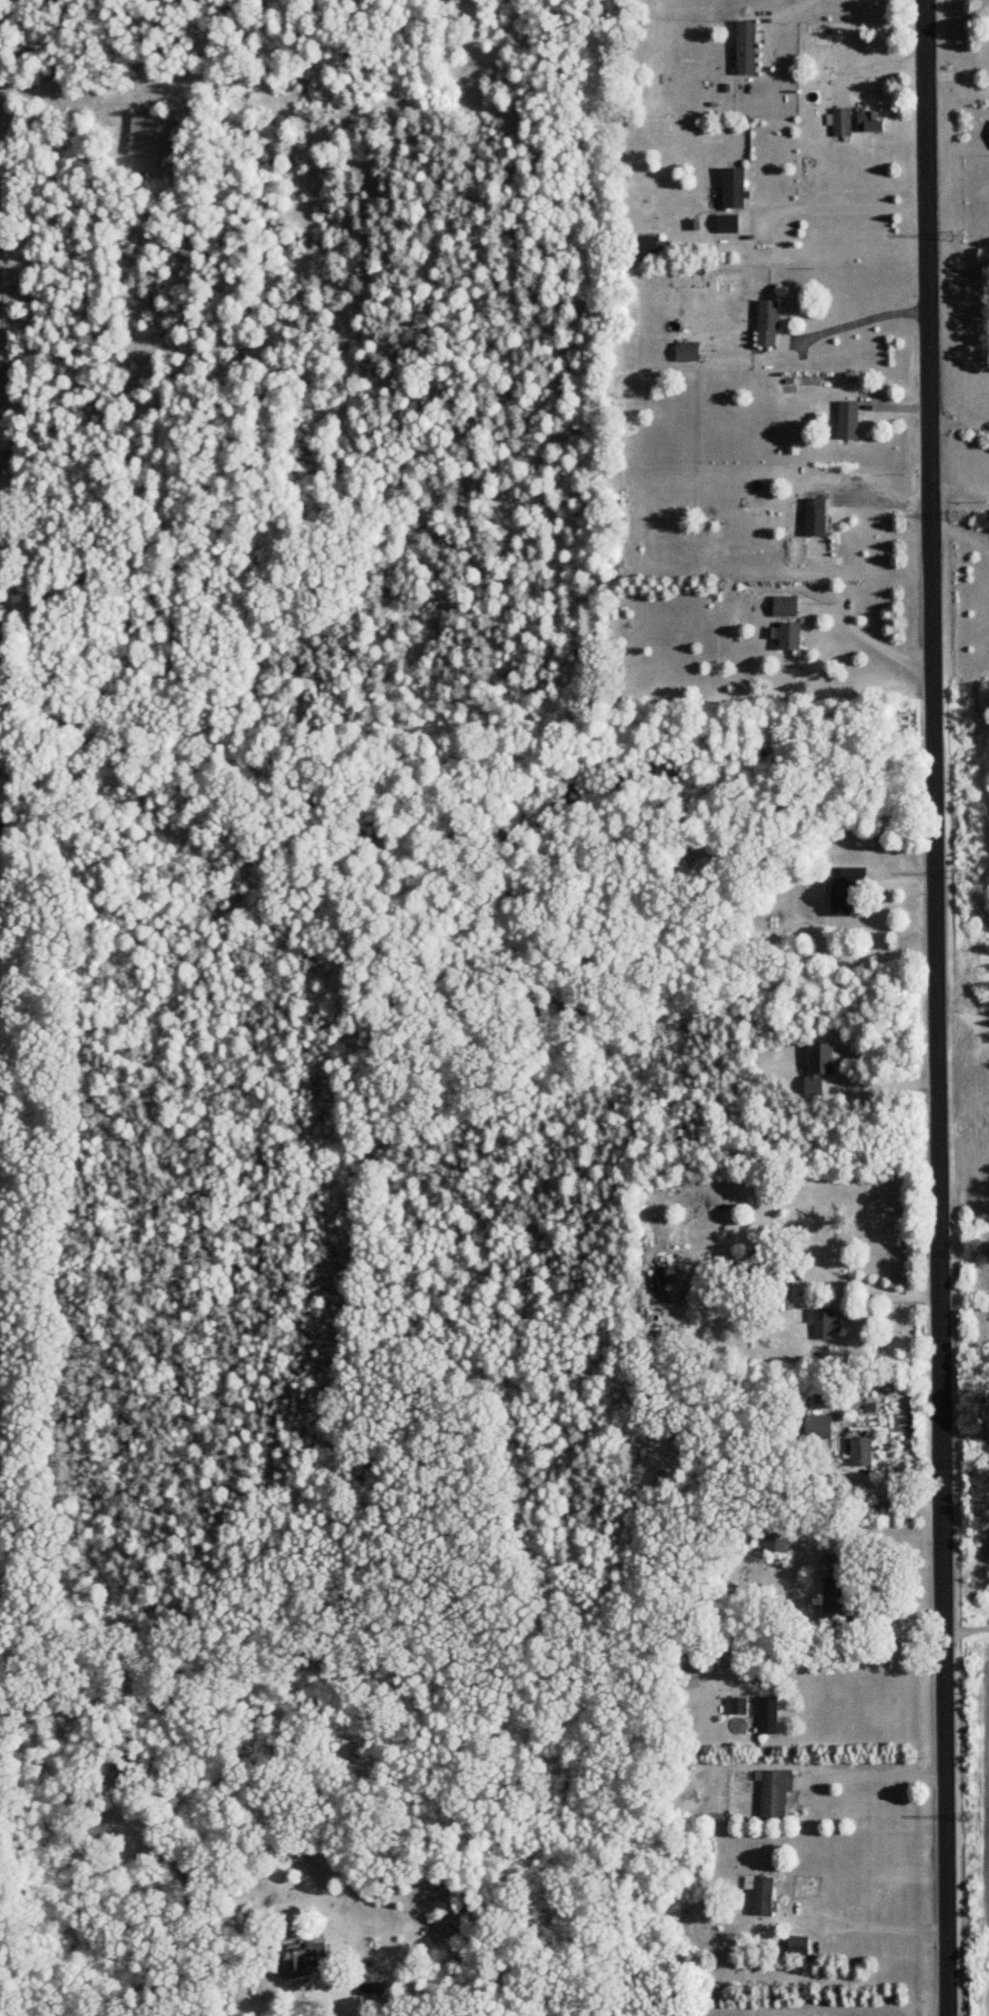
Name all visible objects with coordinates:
road: (790, 7)
building: (747, 48)
road: (958, 83)
building: (870, 121)
building: (842, 123)
building: (152, 134)
building: (734, 189)
road: (842, 206)
building: (727, 224)
power tower: (959, 237)
building: (647, 245)
road: (857, 321)
building: (768, 324)
building: (687, 352)
building: (849, 421)
road: (959, 421)
power tower: (958, 515)
building: (815, 518)
building: (785, 606)
building: (787, 636)
road: (871, 637)
power tower: (966, 873)
building: (845, 888)
road: (936, 1007)
power tower: (967, 1251)
road: (883, 1285)
building: (660, 1298)
building: (825, 1324)
building: (819, 1426)
building: (862, 1451)
power tower: (967, 1464)
building: (772, 1537)
building: (837, 1604)
road: (966, 1634)
road: (847, 1661)
building: (689, 1679)
building: (737, 1705)
building: (768, 1715)
road: (882, 1774)
building: (775, 1792)
power tower: (974, 1816)
building: (97, 1829)
building: (762, 1895)
road: (873, 1923)
building: (798, 1946)
building: (302, 1959)
building: (371, 1989)
road: (329, 1990)

